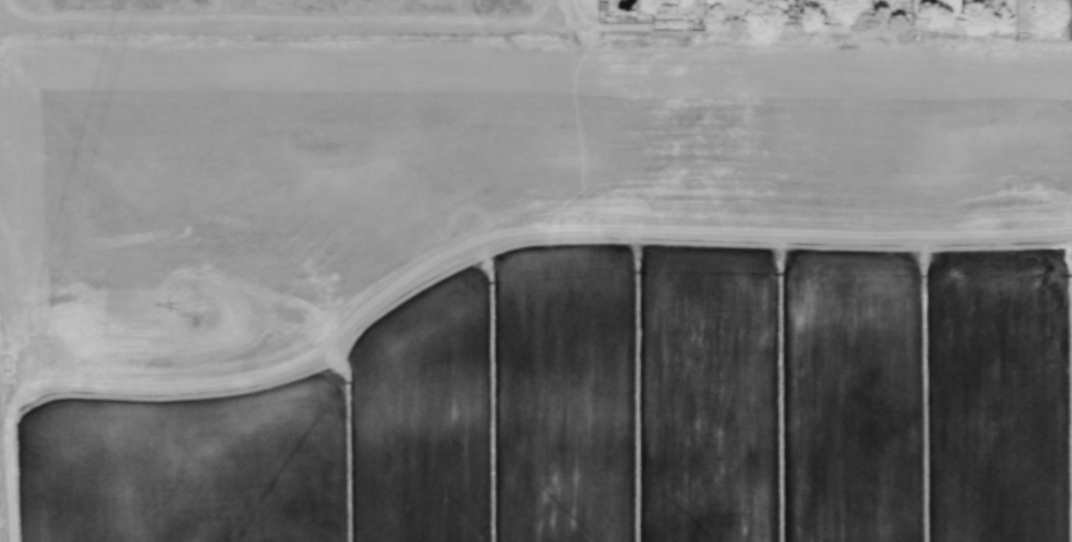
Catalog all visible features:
building: (1068, 18)

